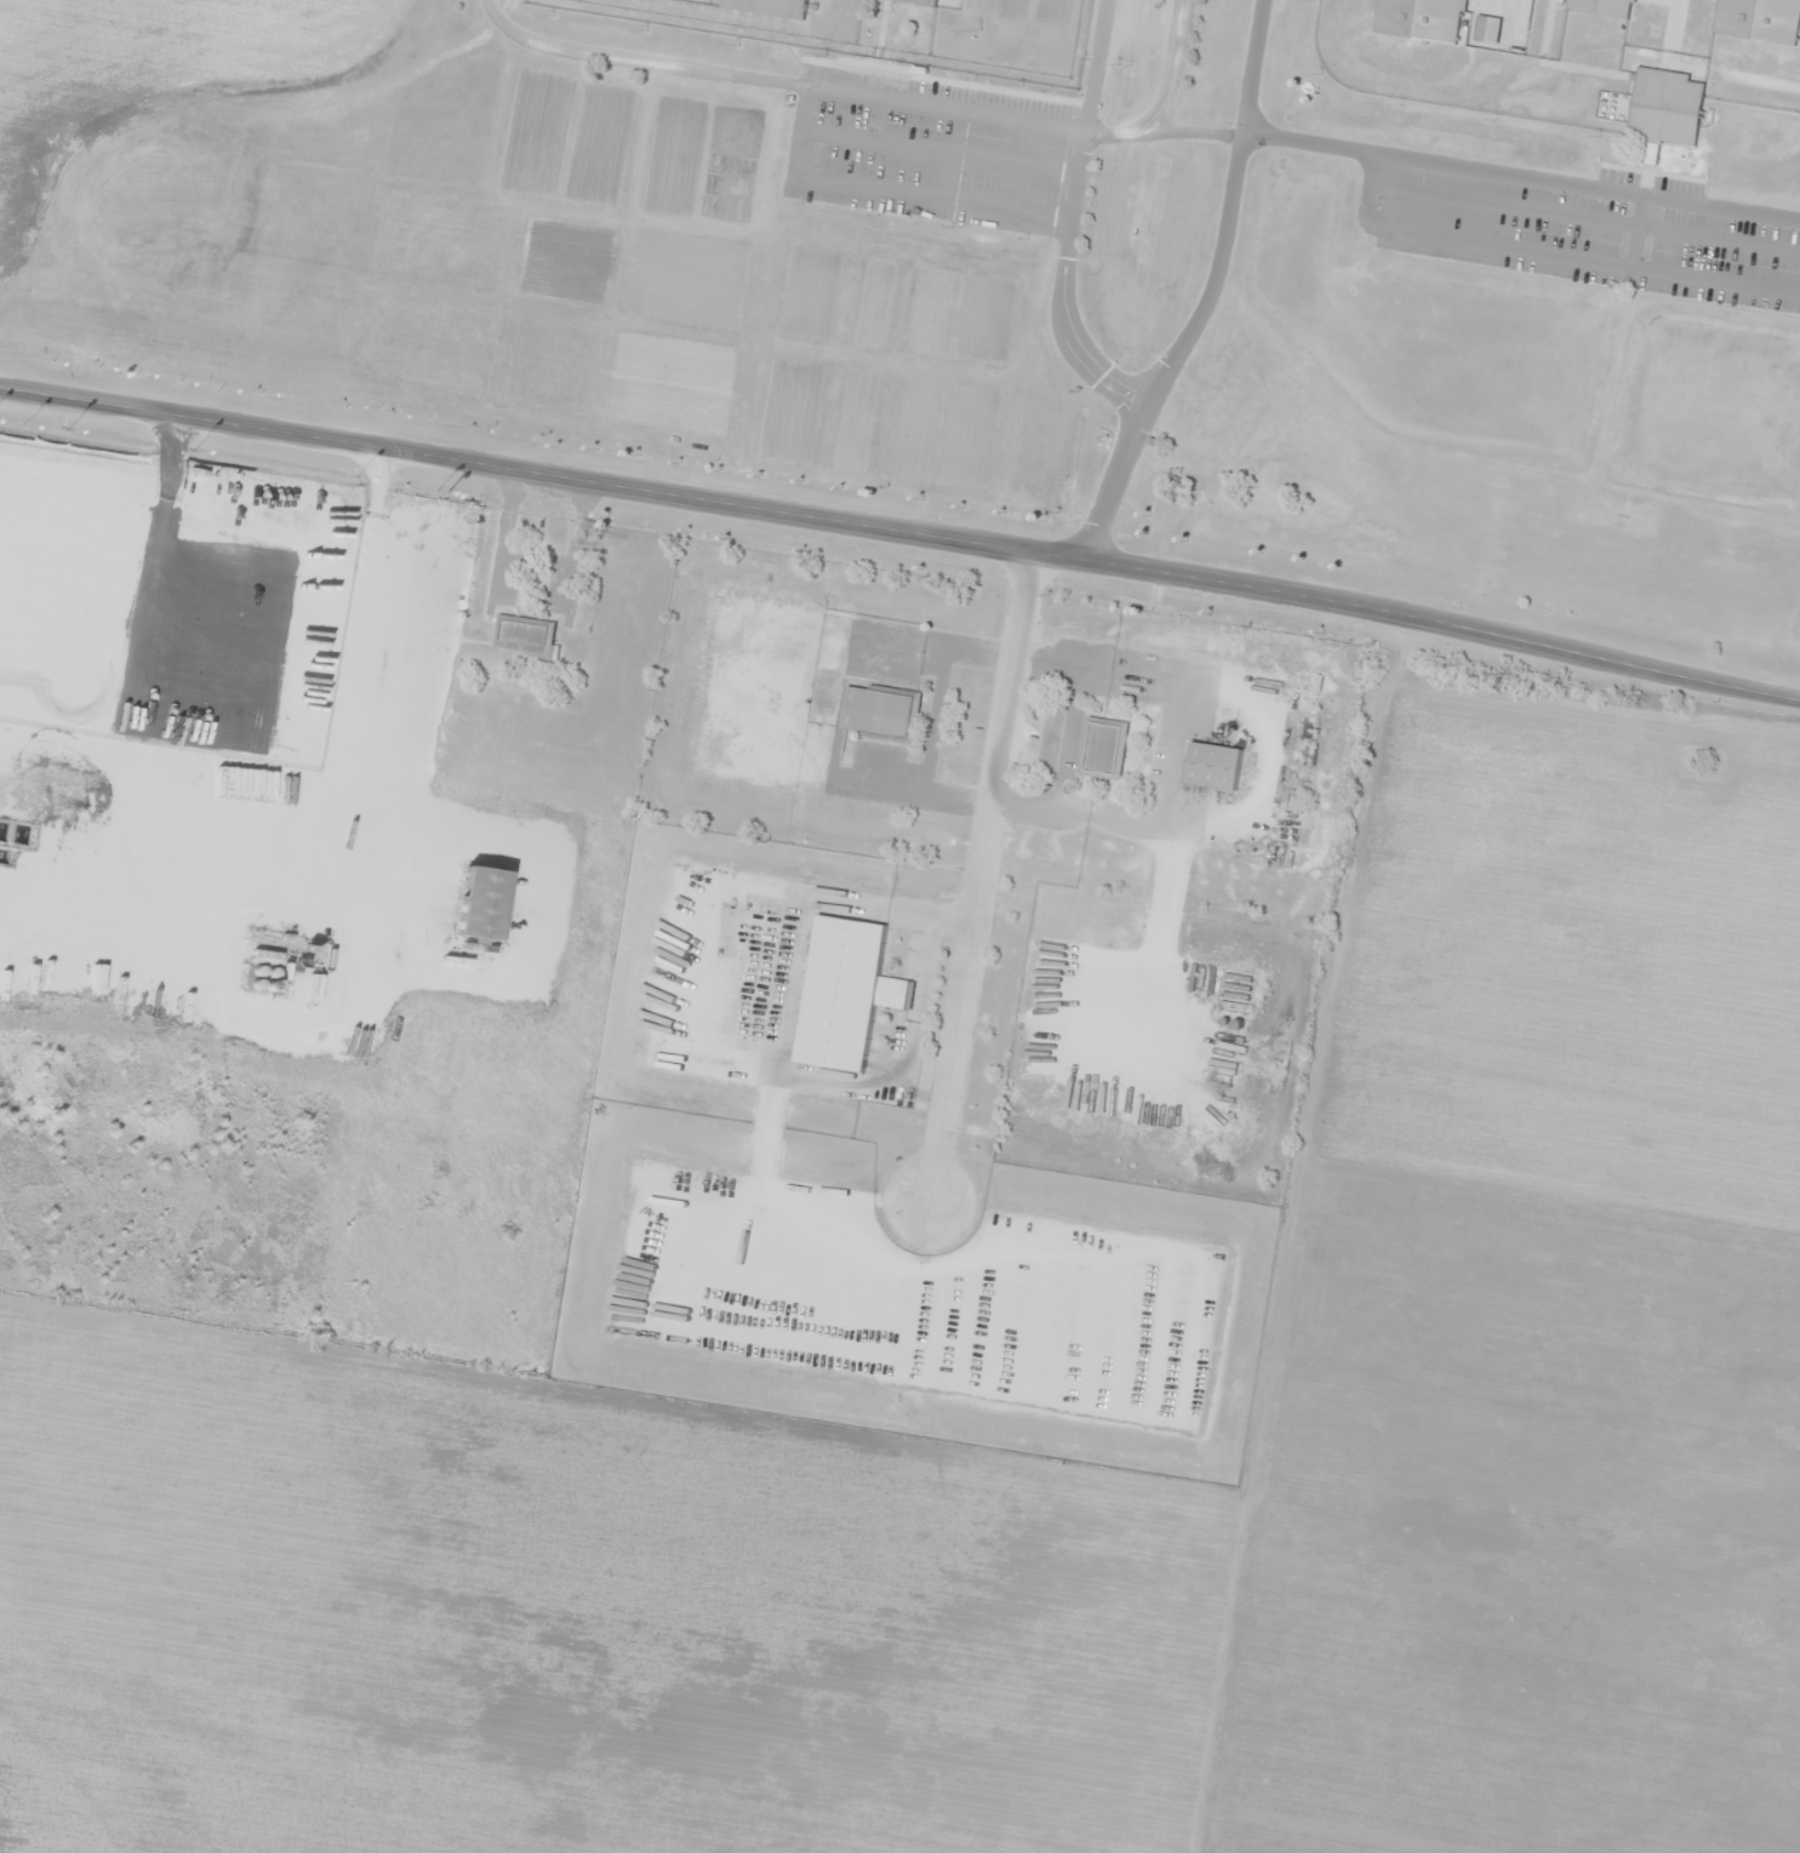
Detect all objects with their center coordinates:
building: (919, 1)
building: (766, 6)
building: (1599, 6)
building: (1418, 18)
building: (1758, 19)
road: (777, 81)
road: (1156, 95)
building: (1662, 105)
road: (1465, 165)
road: (1059, 281)
road: (1206, 291)
road: (902, 530)
building: (522, 636)
building: (876, 713)
building: (1099, 748)
building: (1210, 765)
road: (976, 871)
building: (478, 903)
building: (752, 921)
building: (841, 993)

